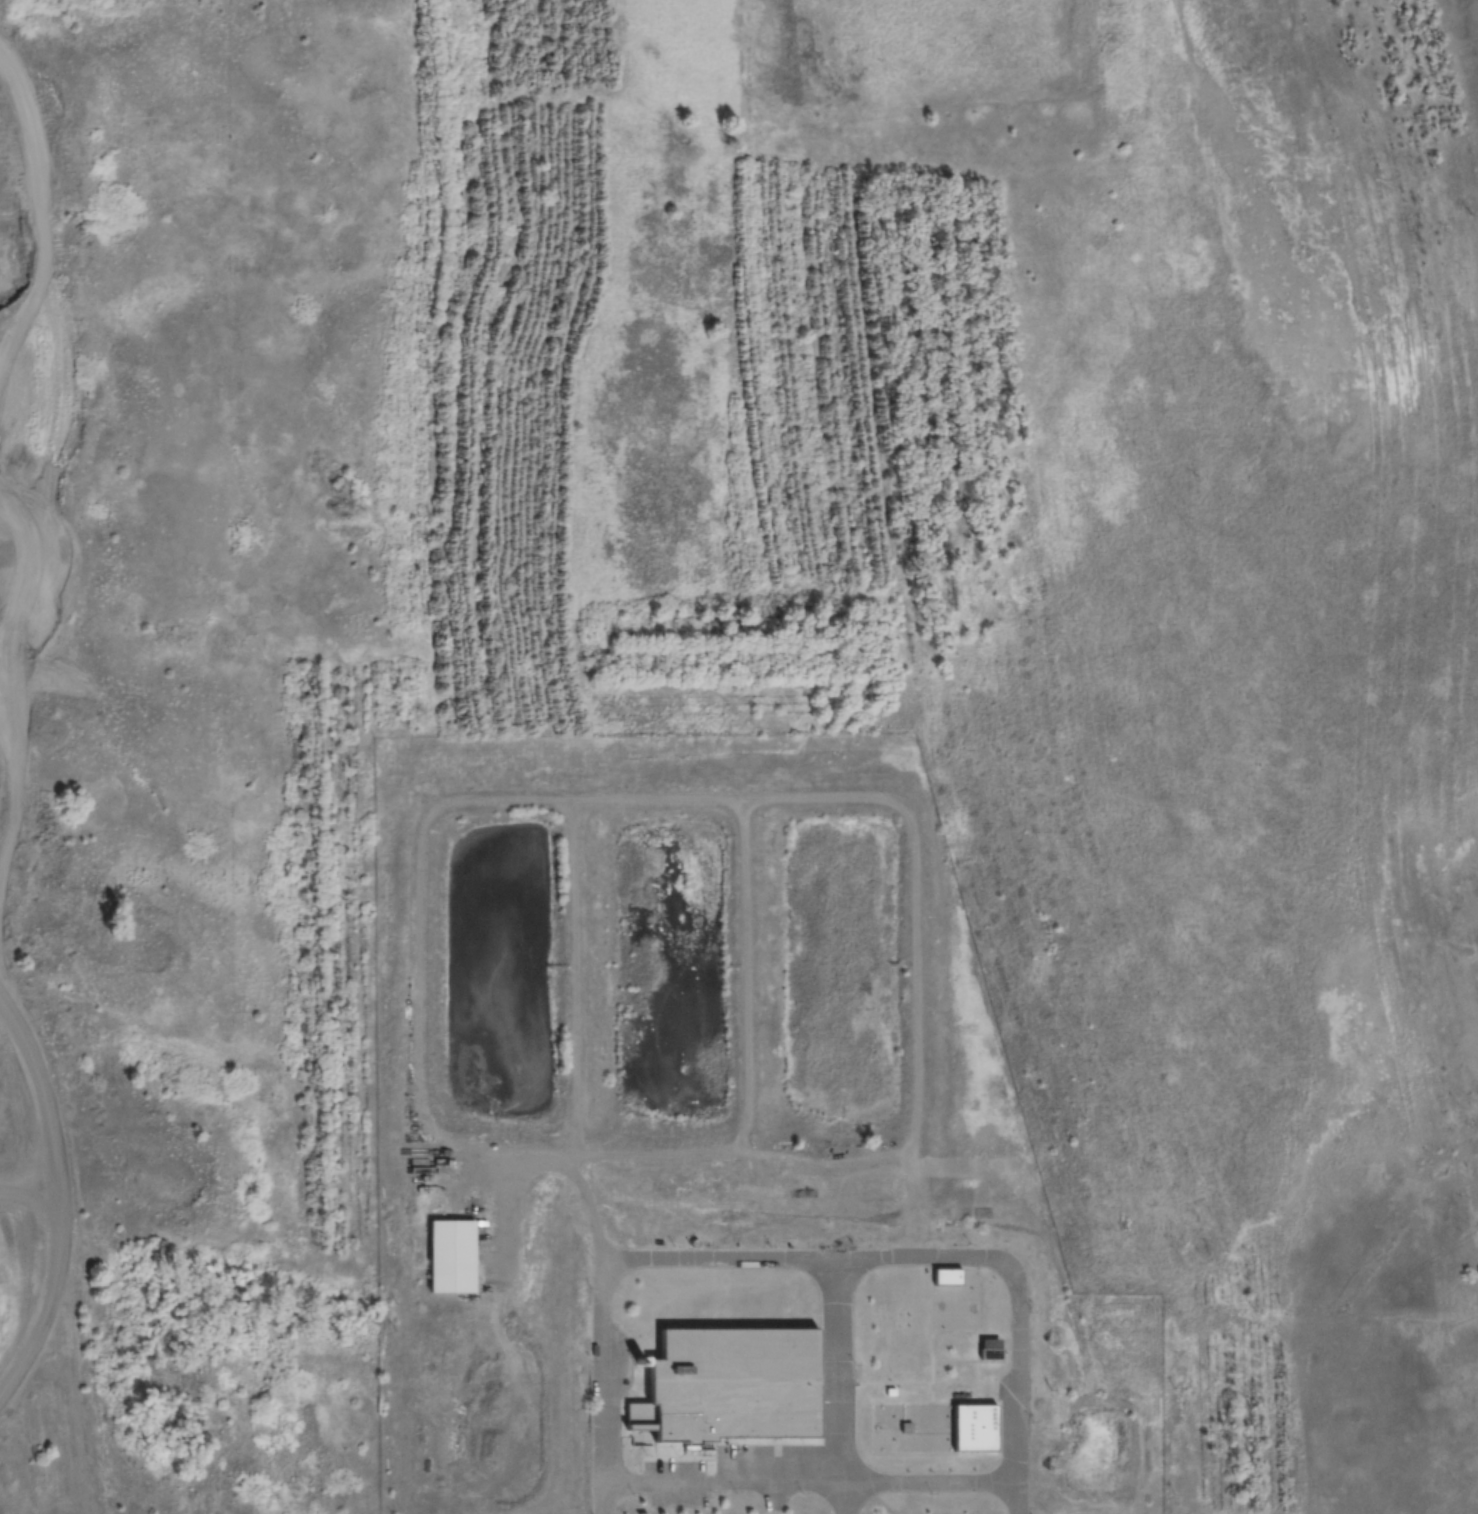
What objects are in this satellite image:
road: (26, 1182)
building: (446, 1246)
road: (57, 1250)
building: (948, 1275)
building: (991, 1350)
building: (739, 1384)
building: (970, 1416)

